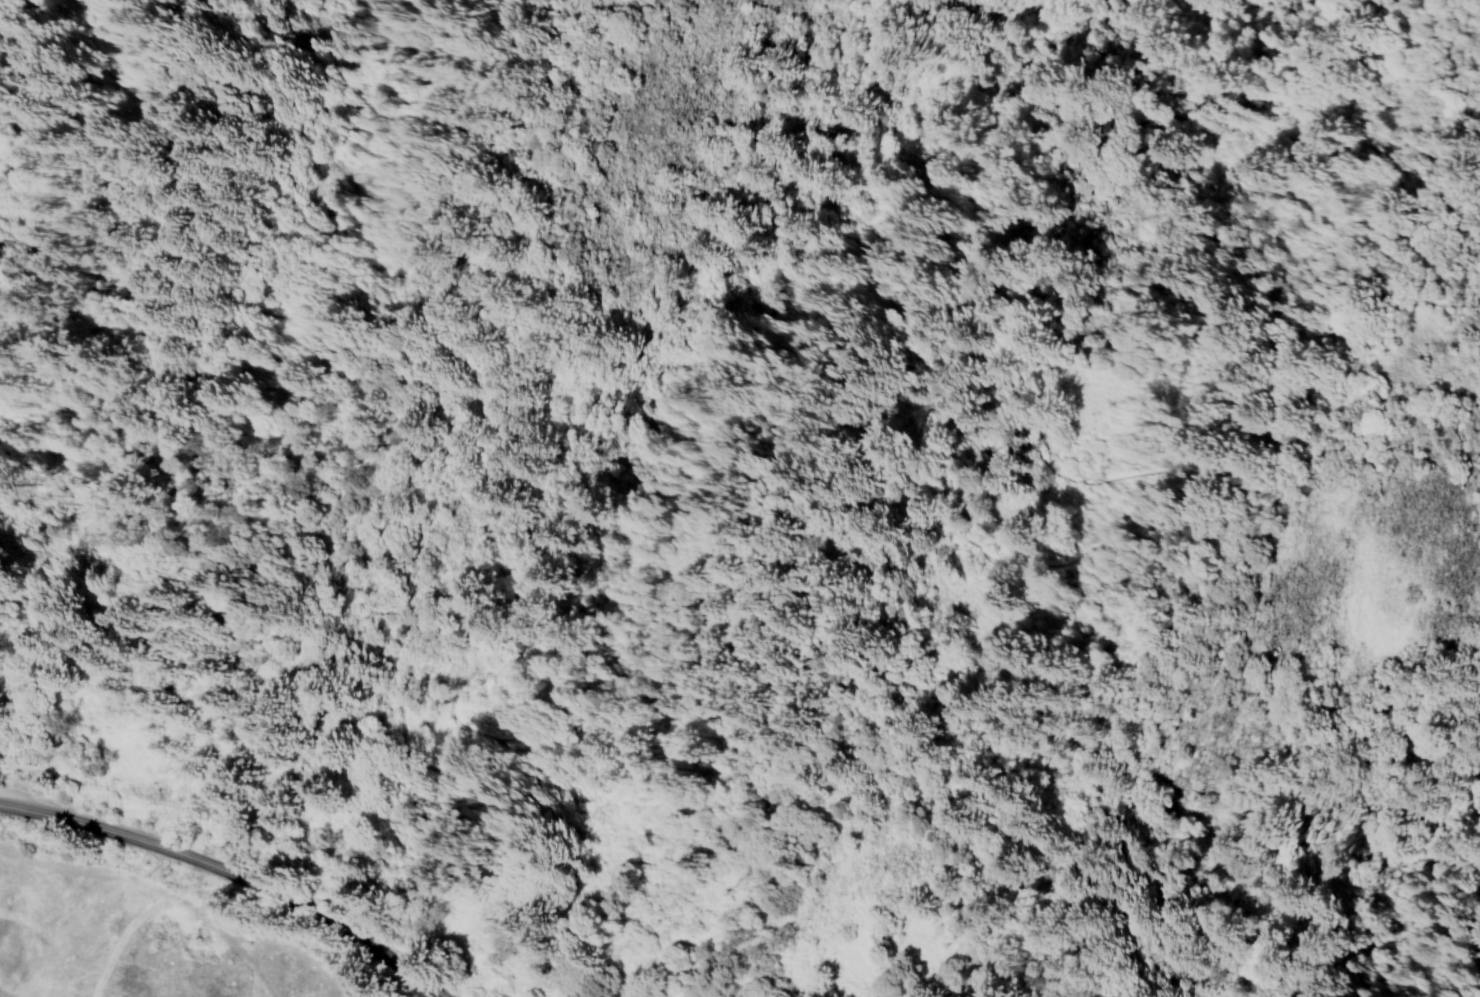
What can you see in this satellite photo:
road: (1441, 136)
road: (466, 205)
road: (1382, 256)
road: (1251, 488)
road: (377, 635)
road: (231, 875)

